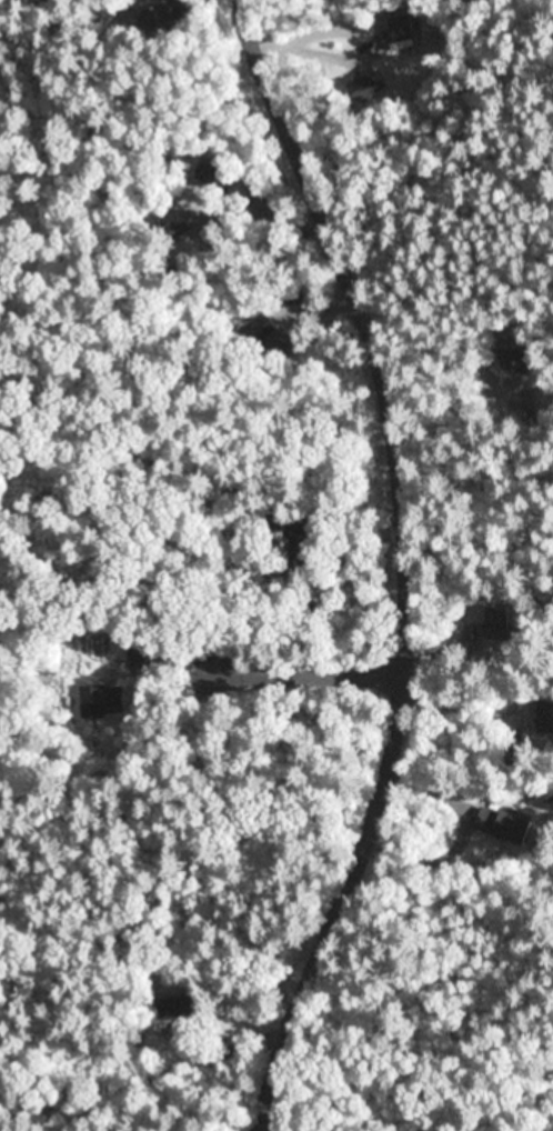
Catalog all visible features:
building: (162, 14)
building: (370, 83)
building: (212, 174)
building: (177, 224)
building: (183, 264)
building: (241, 329)
building: (267, 338)
building: (519, 347)
building: (302, 544)
road: (404, 547)
building: (253, 564)
building: (499, 619)
building: (477, 623)
building: (141, 655)
road: (254, 679)
building: (102, 701)
building: (545, 713)
building: (535, 717)
building: (517, 751)
building: (505, 825)
building: (188, 1008)
building: (212, 1057)
road: (261, 1114)

